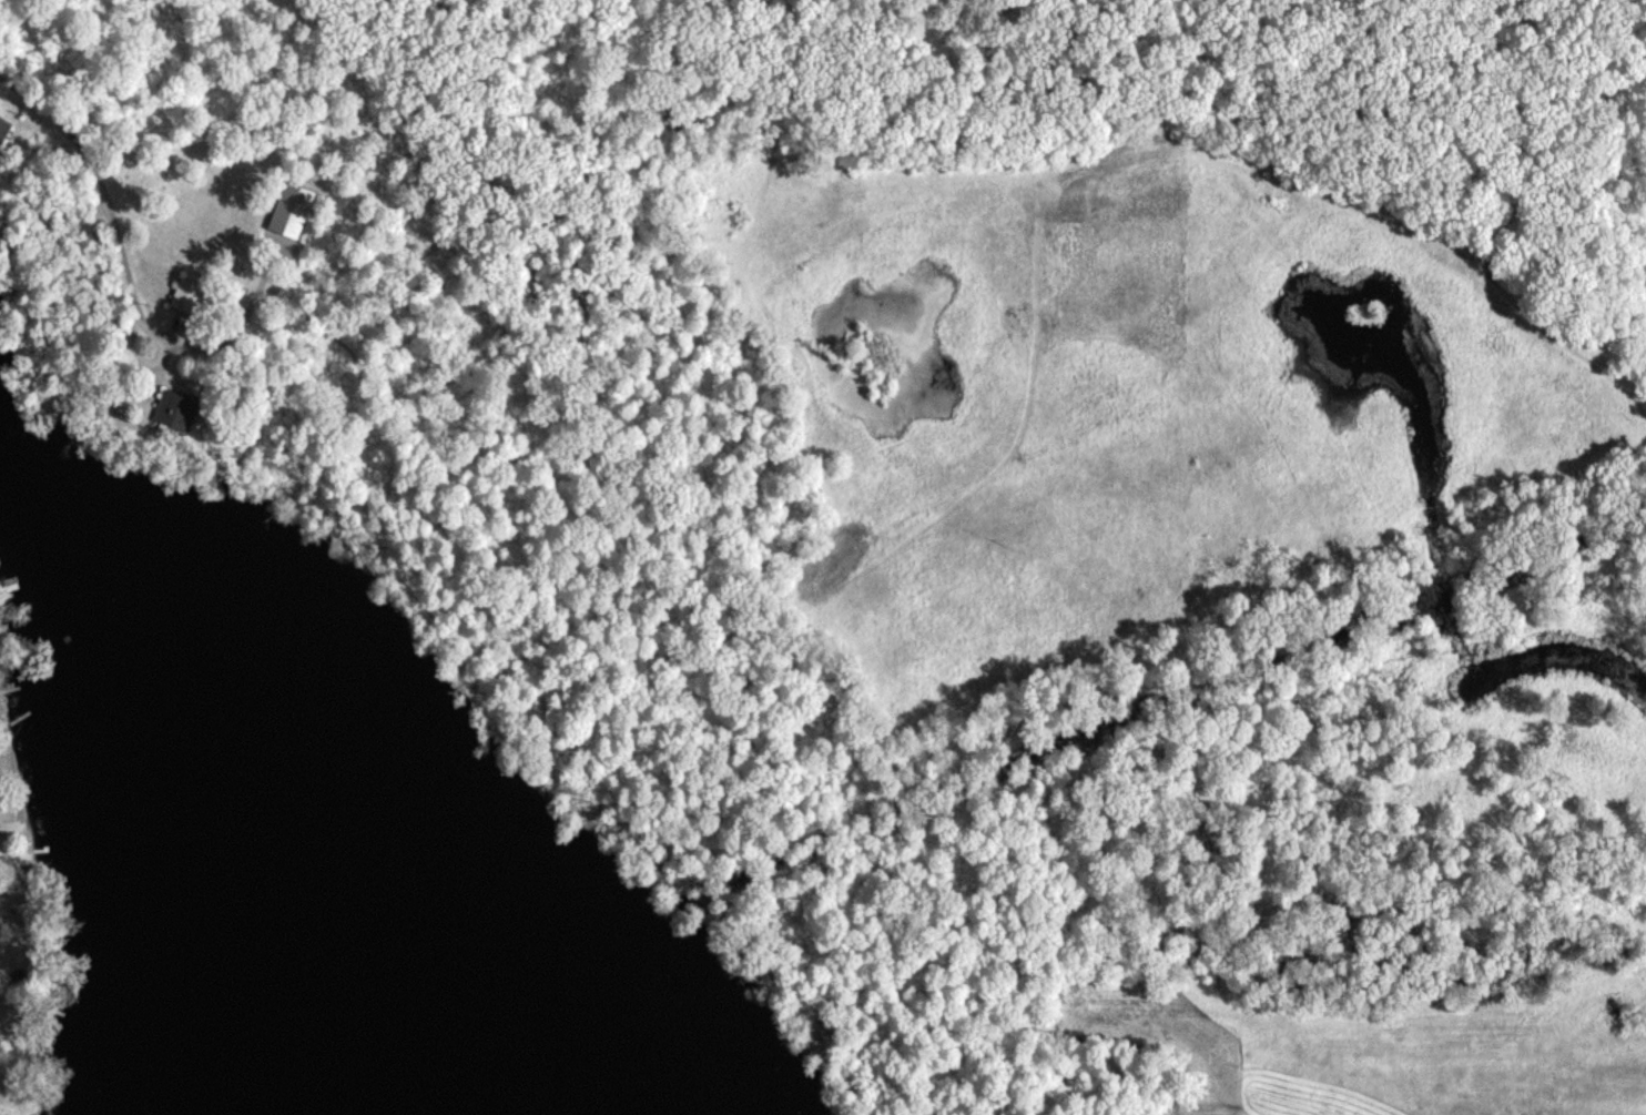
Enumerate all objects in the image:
building: (3, 126)
road: (101, 181)
building: (289, 210)
building: (185, 294)
building: (175, 408)

